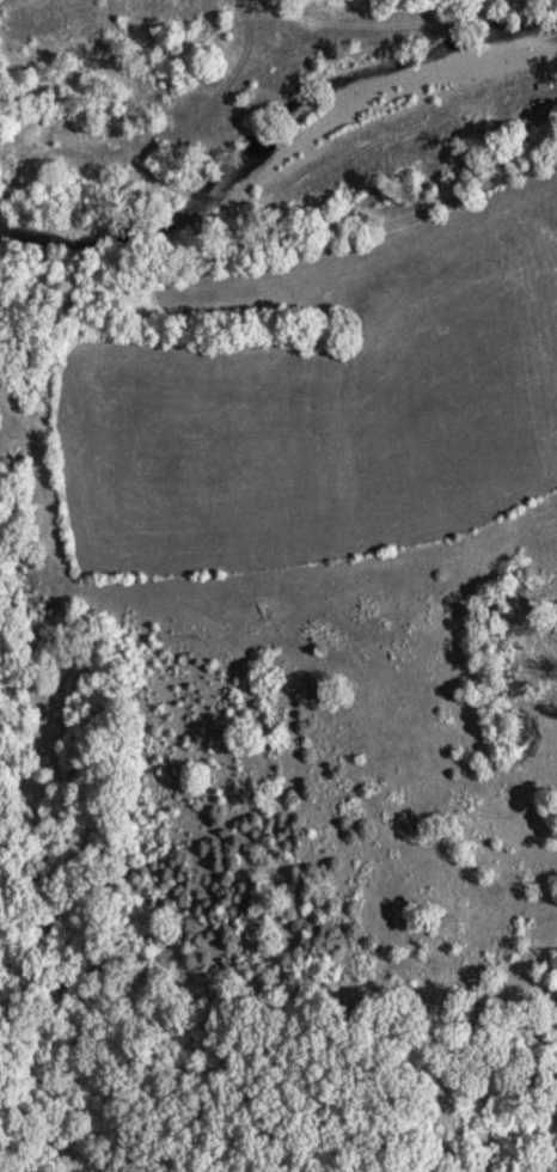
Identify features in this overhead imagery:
road: (286, 243)

